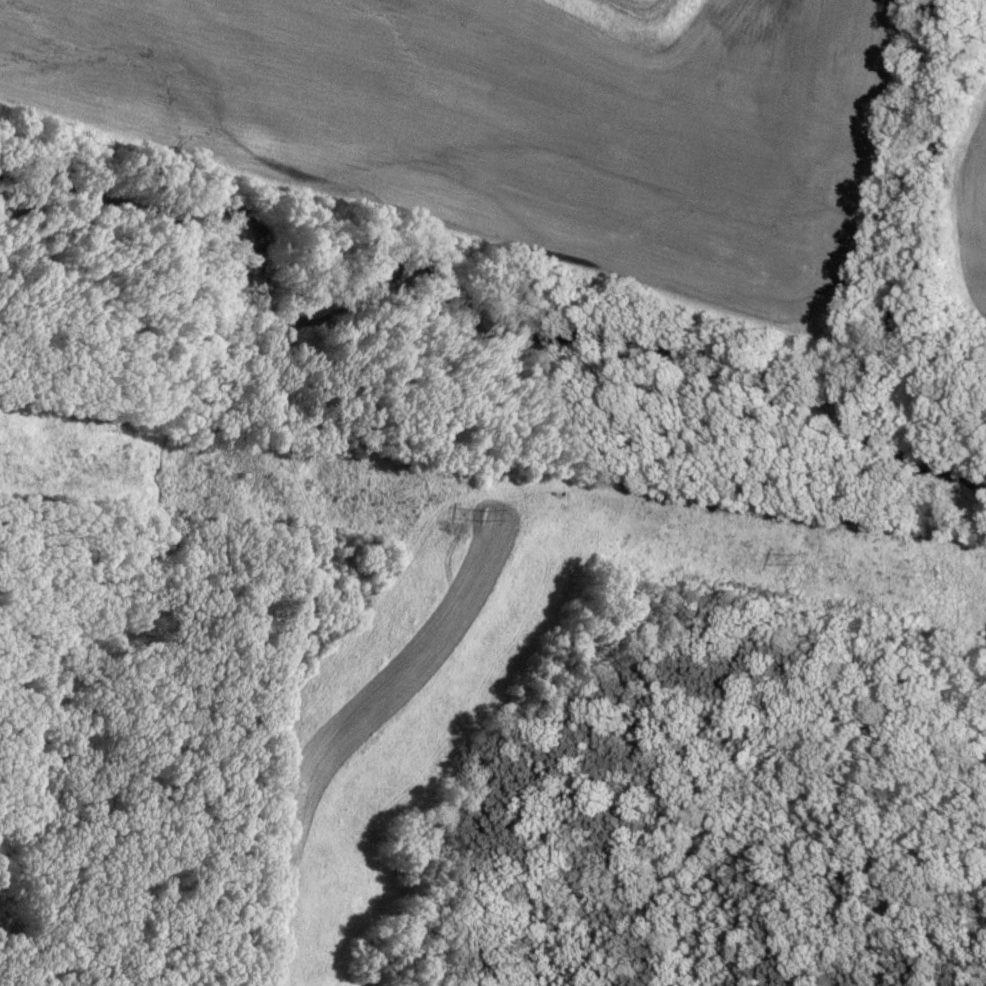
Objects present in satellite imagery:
power tower: (476, 511)
power tower: (798, 552)

